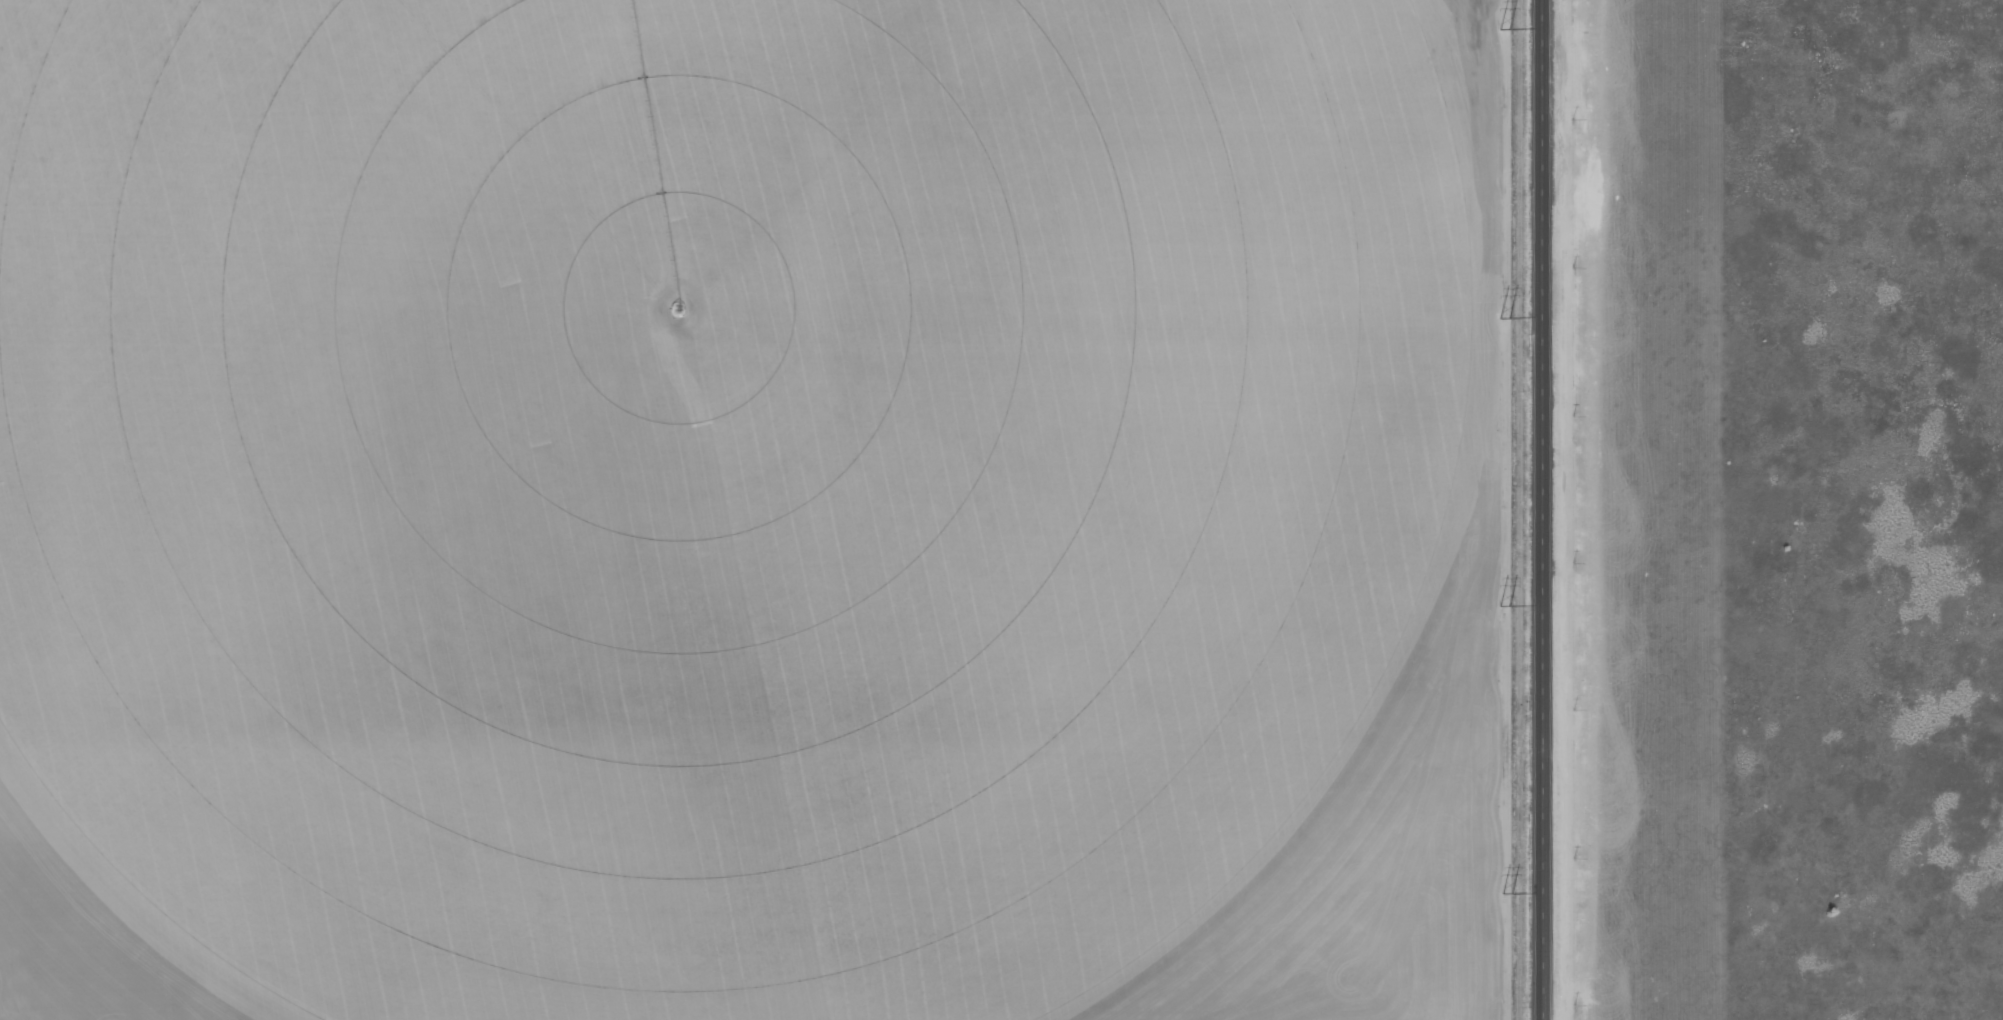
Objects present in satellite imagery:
power tower: (1506, 30)
power tower: (1505, 318)
crop: (715, 477)
road: (1542, 510)
power tower: (1504, 608)
power tower: (1505, 895)

